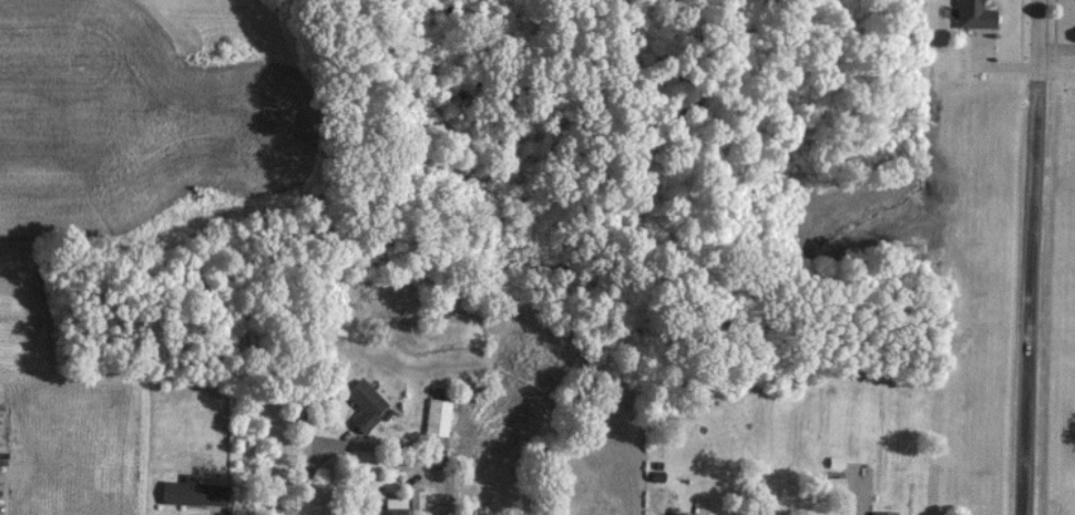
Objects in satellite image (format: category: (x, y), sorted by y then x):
building: (972, 14)
crop: (131, 119)
road: (1032, 257)
building: (362, 404)
building: (436, 415)
road: (308, 474)
building: (191, 491)
building: (416, 498)
building: (393, 509)
building: (881, 512)
building: (673, 514)

